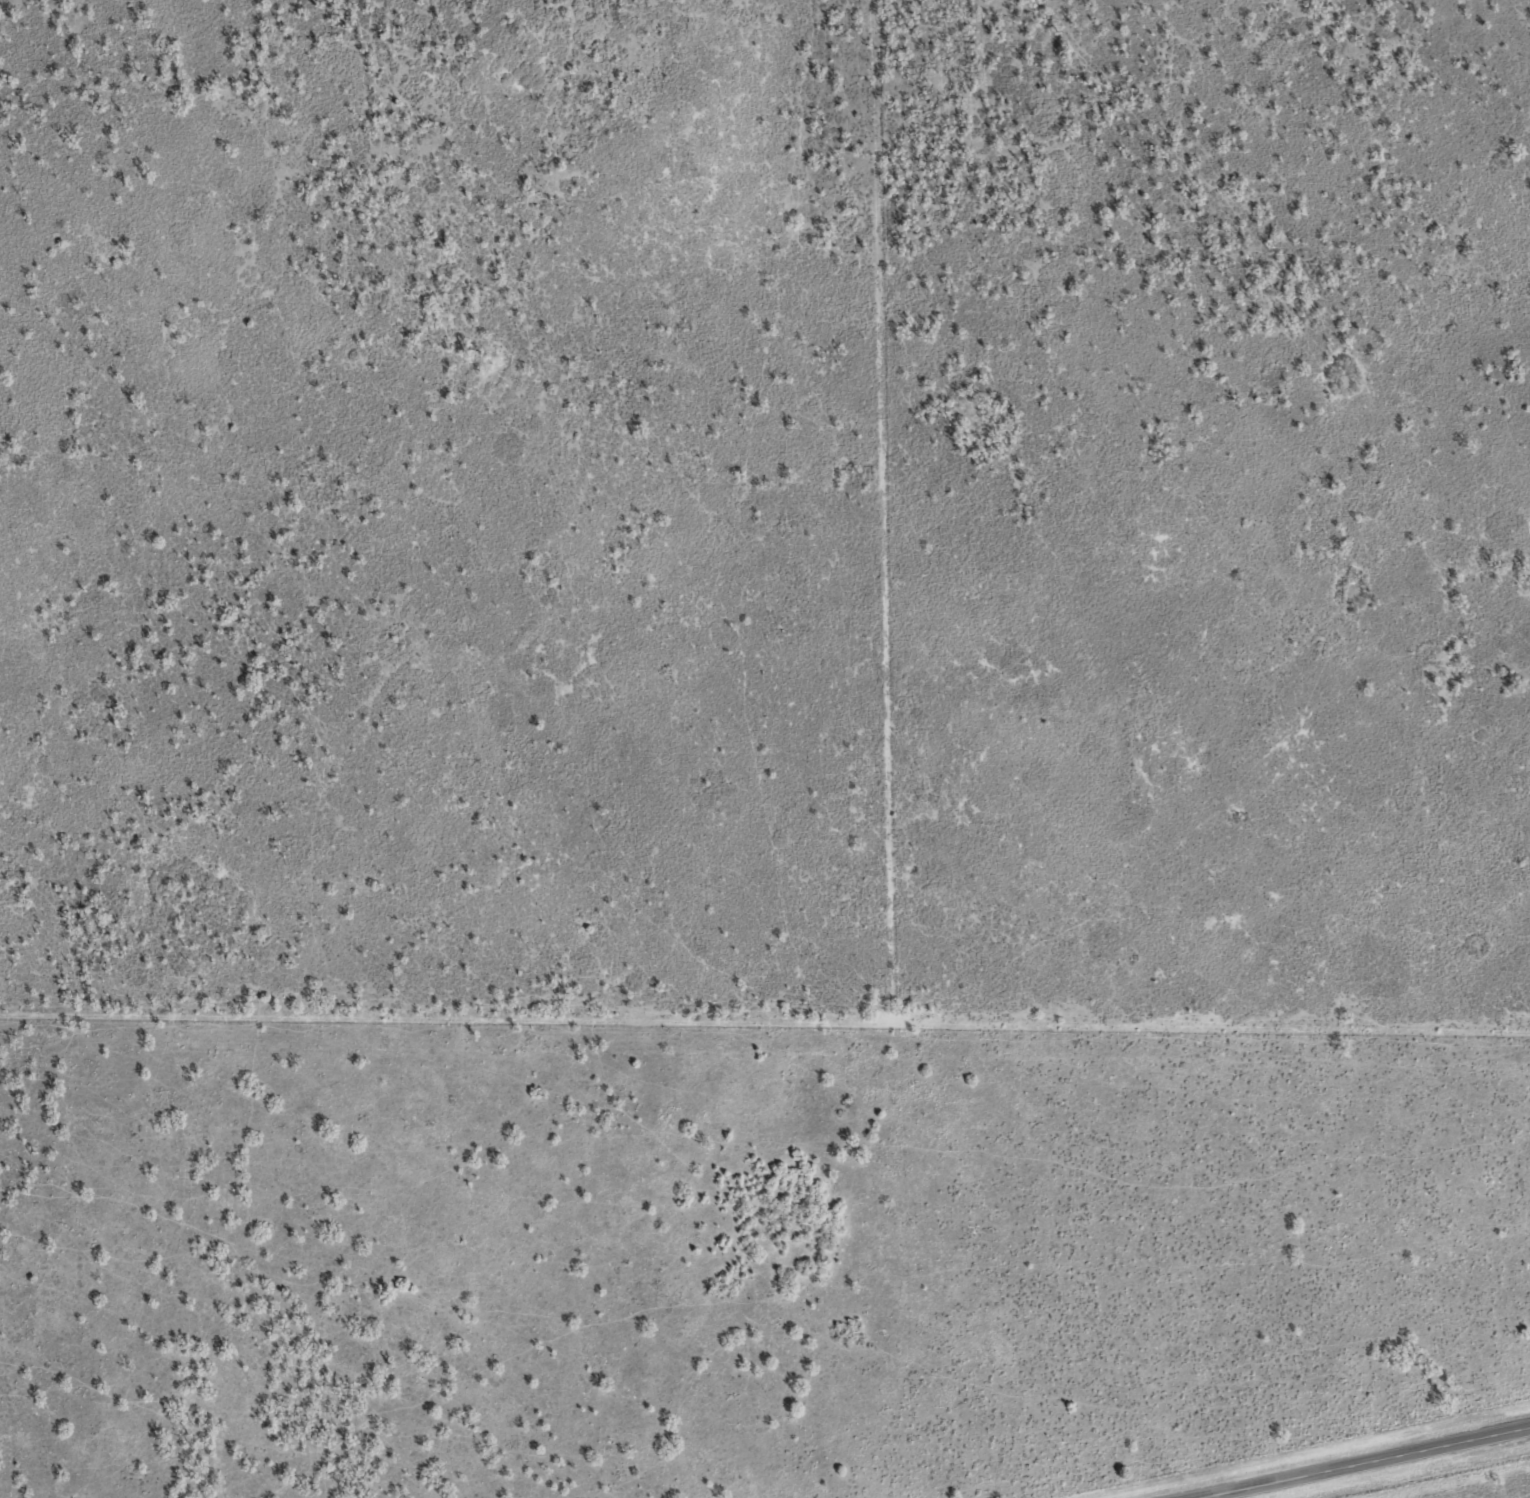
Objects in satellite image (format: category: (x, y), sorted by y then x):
road: (1393, 1468)

